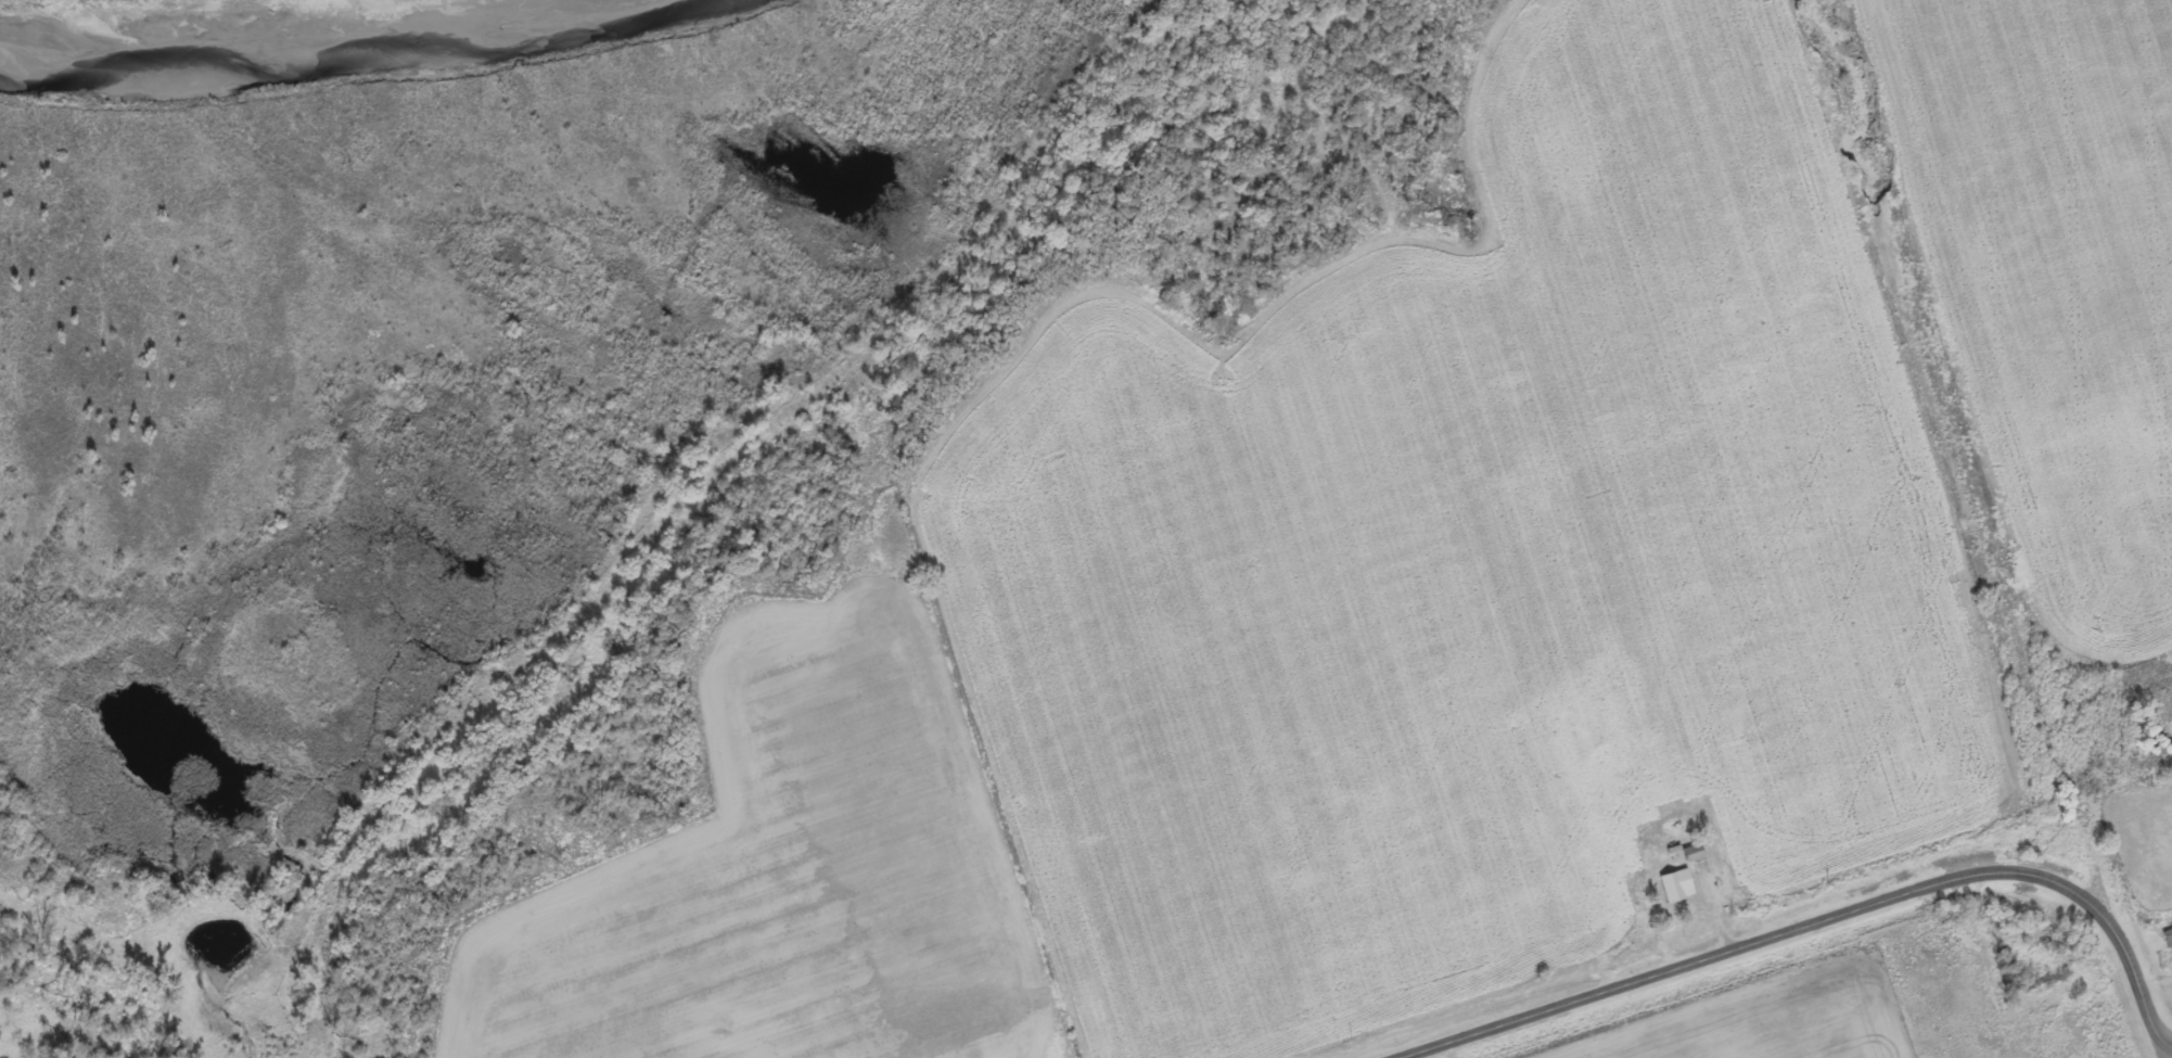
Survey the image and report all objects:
river: (238, 55)
building: (1695, 855)
building: (1679, 888)
road: (1830, 919)
building: (2169, 941)
road: (2167, 1050)

